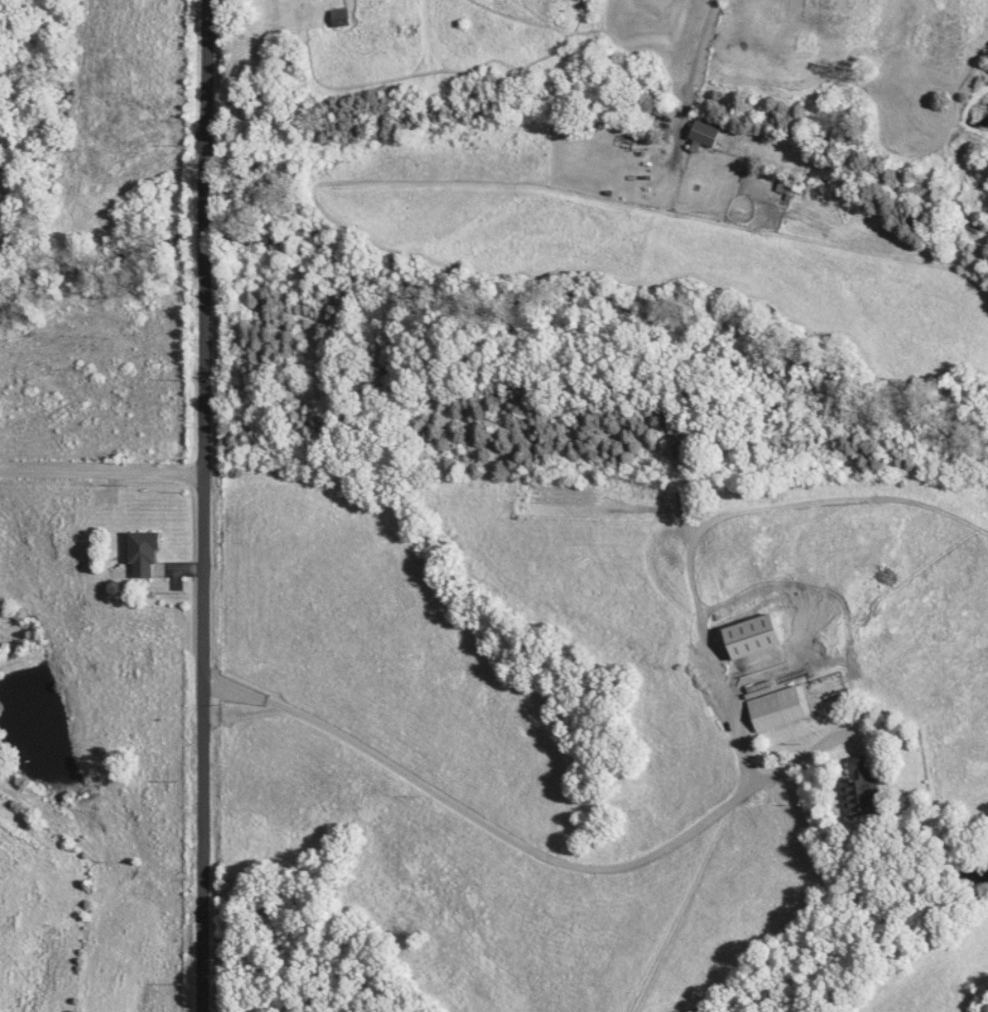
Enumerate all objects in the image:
road: (697, 59)
building: (707, 136)
road: (102, 471)
road: (204, 505)
road: (714, 524)
building: (148, 553)
building: (761, 637)
building: (761, 691)
building: (781, 710)
building: (867, 789)
road: (523, 846)

